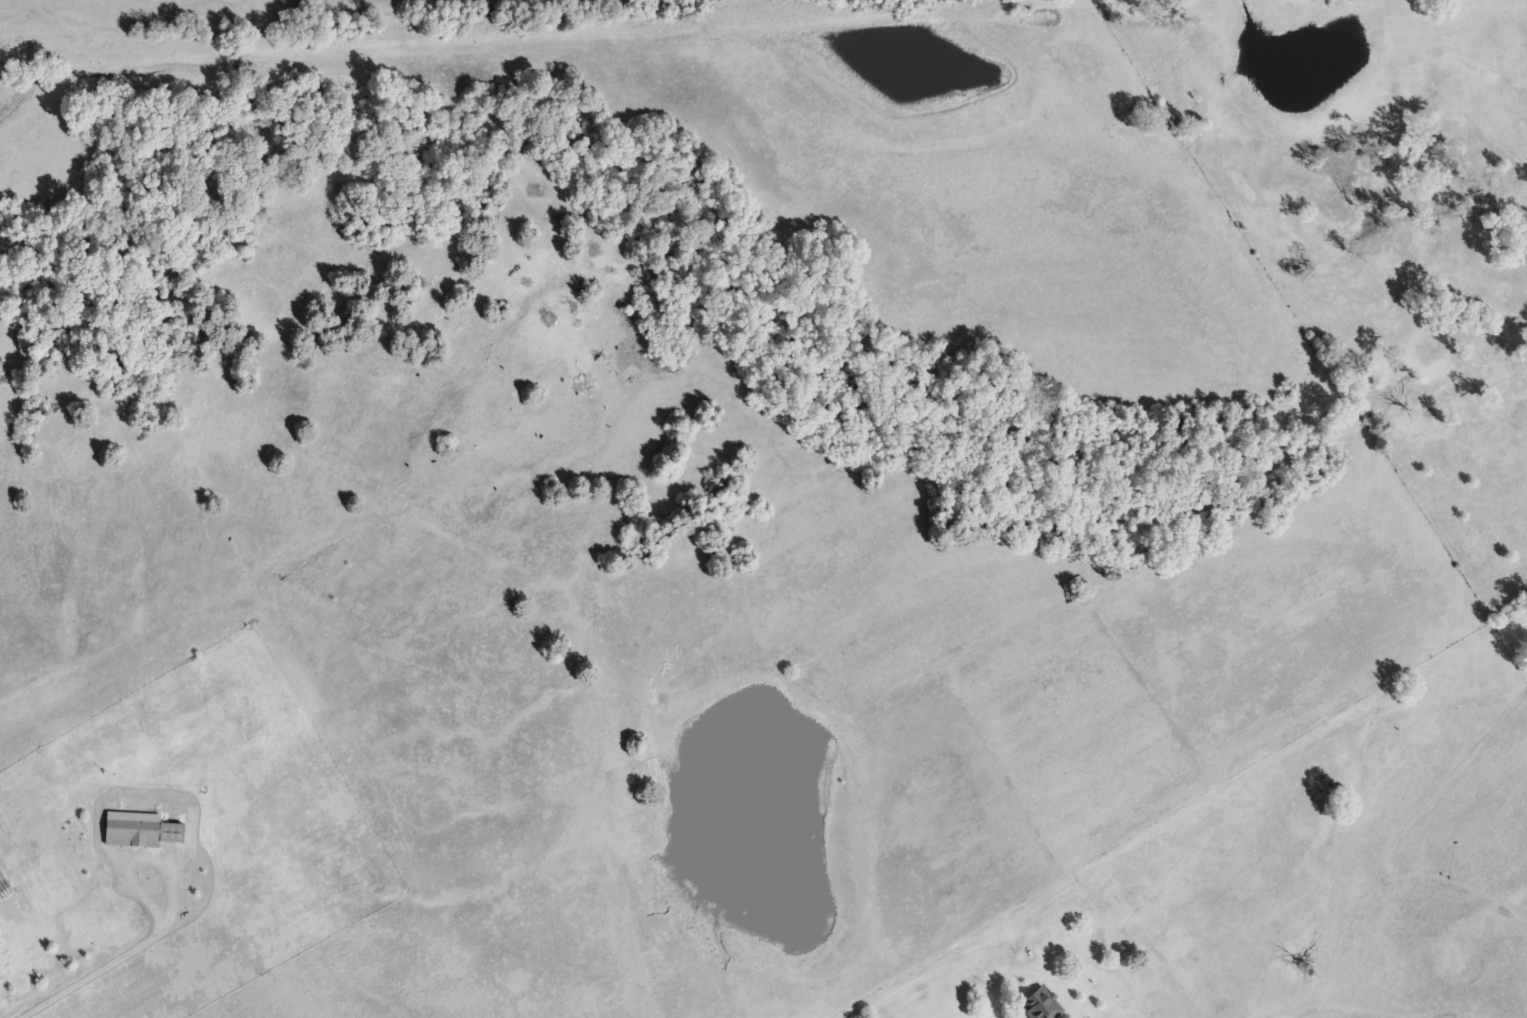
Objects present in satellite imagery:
railway: (497, 28)
building: (134, 828)
road: (917, 972)
building: (1035, 1003)

